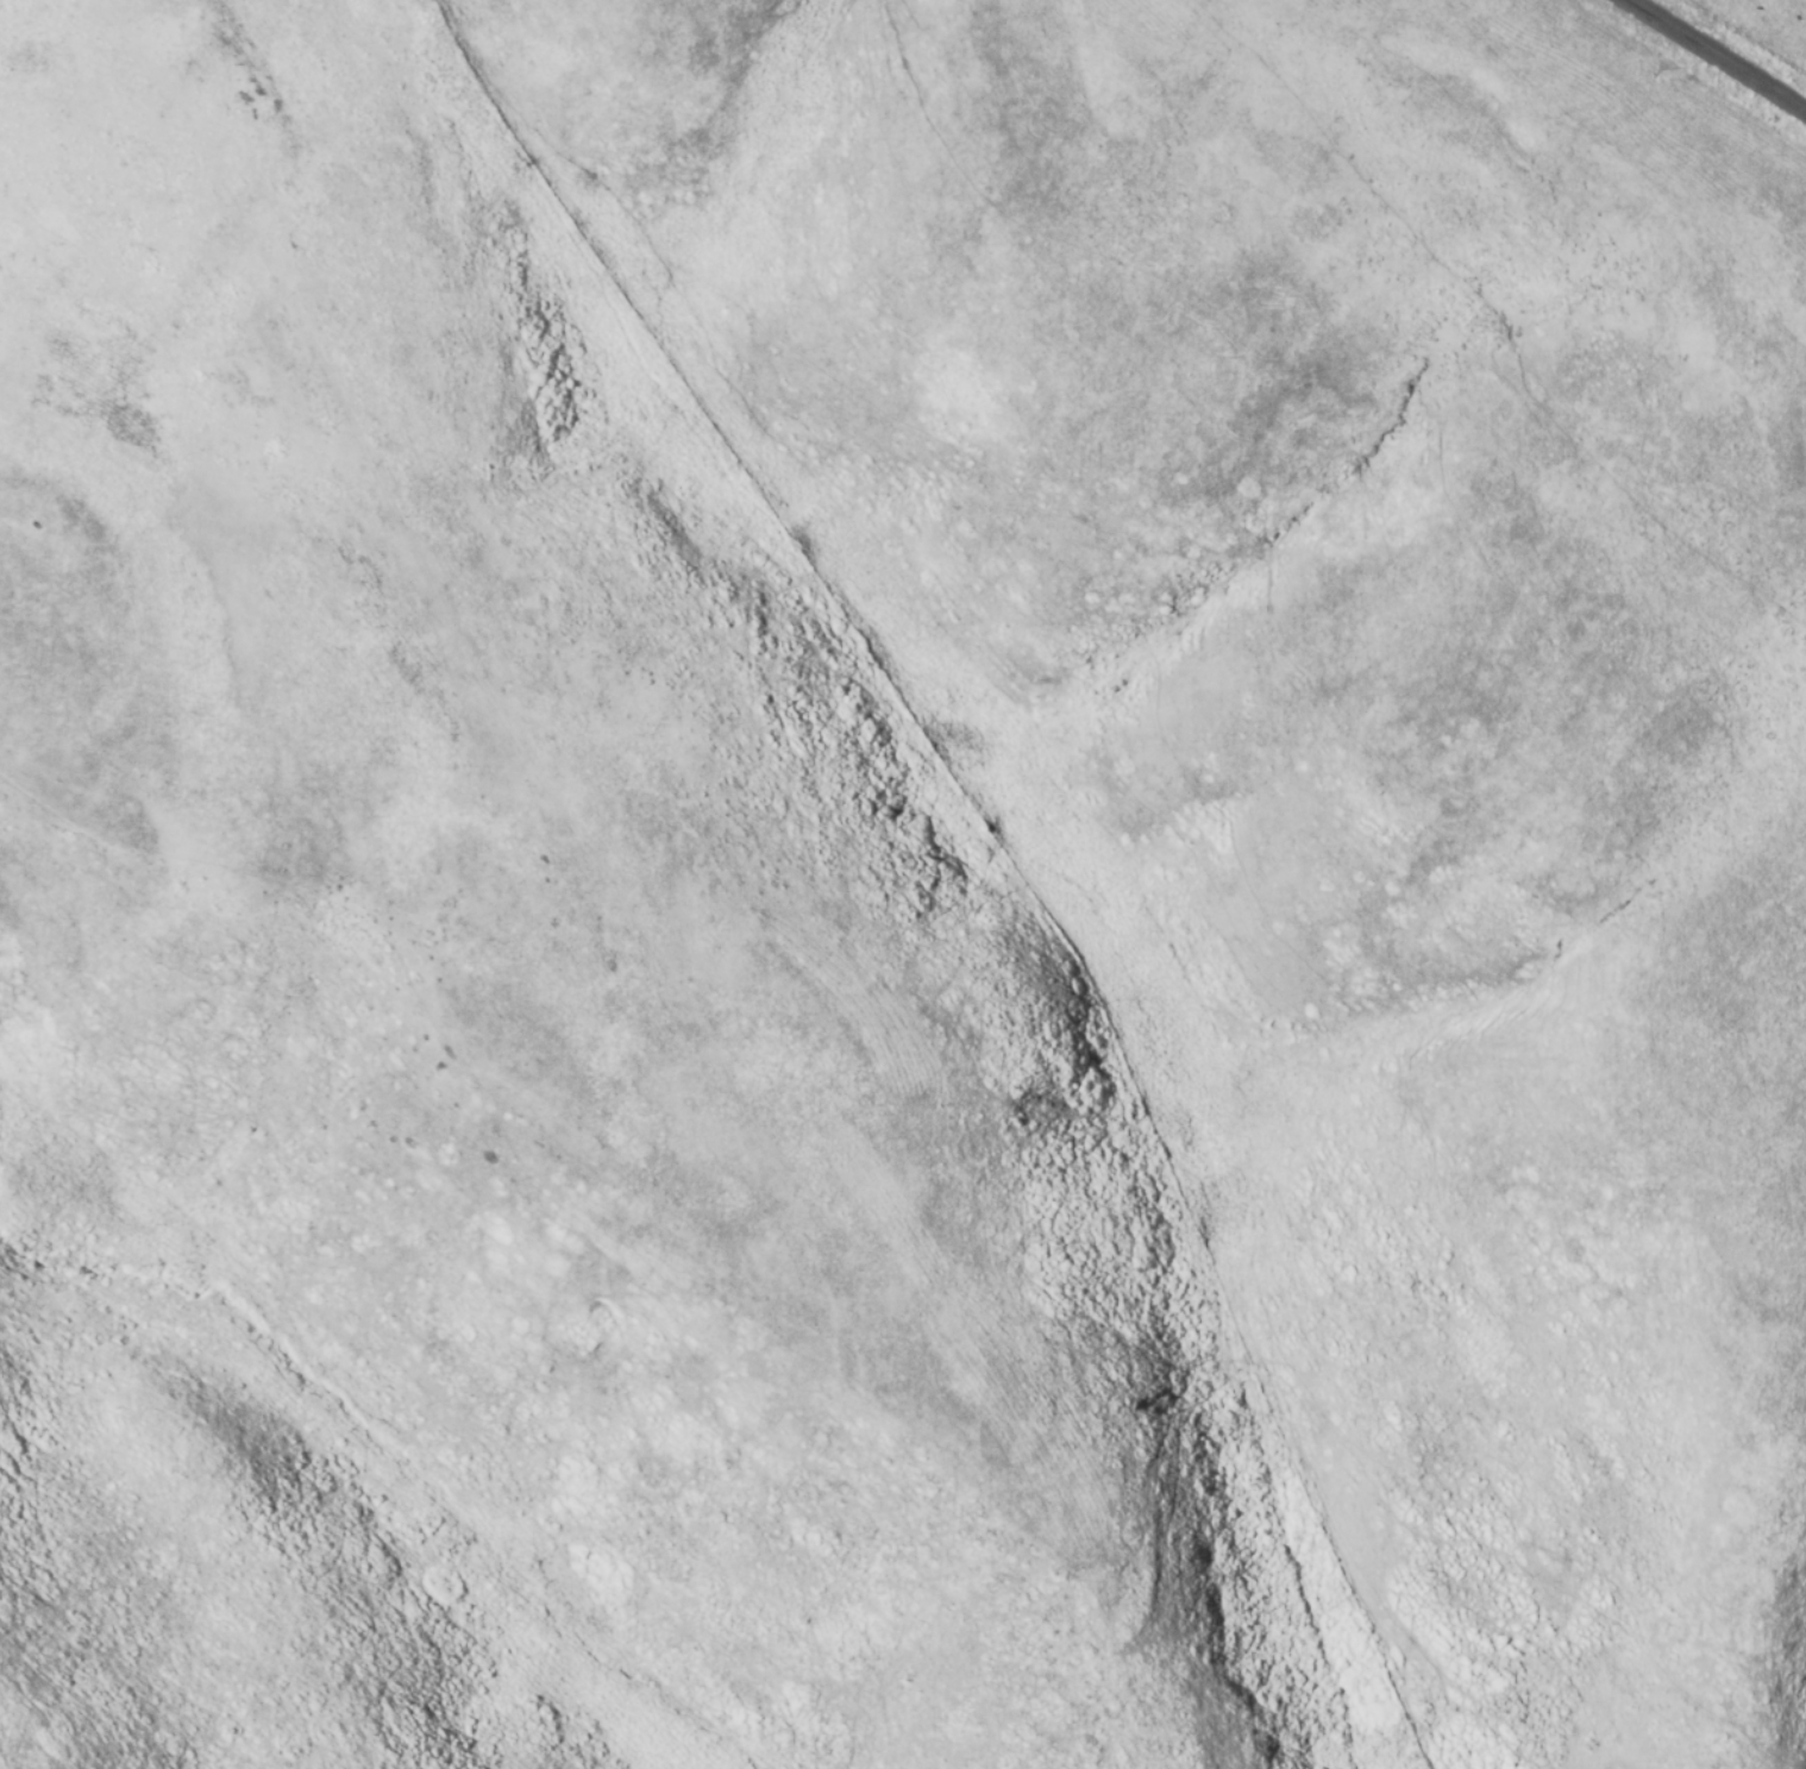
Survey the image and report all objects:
road: (1717, 52)

